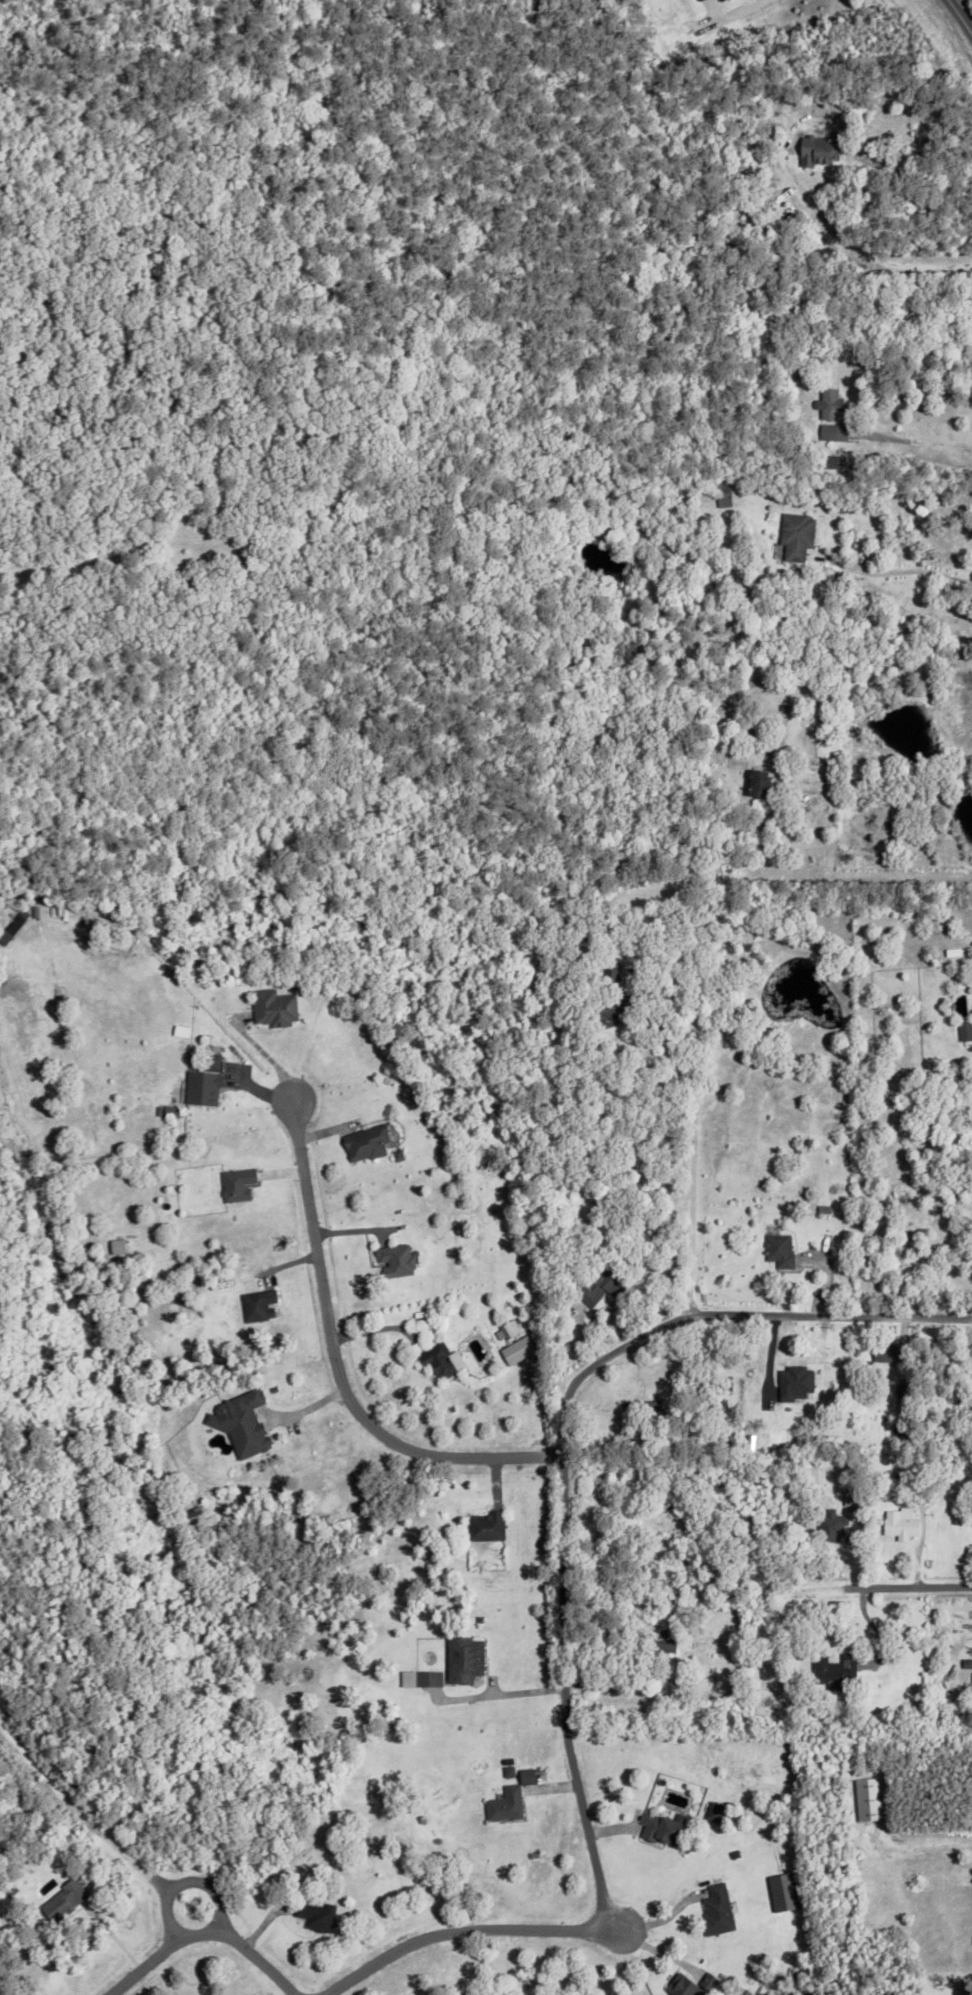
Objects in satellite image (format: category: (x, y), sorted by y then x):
building: (703, 0)
building: (725, 0)
road: (955, 3)
road: (753, 5)
road: (960, 16)
building: (880, 108)
building: (773, 139)
building: (895, 141)
building: (817, 149)
road: (865, 262)
building: (829, 416)
building: (882, 444)
road: (938, 450)
building: (722, 492)
building: (793, 536)
road: (55, 565)
road: (897, 570)
building: (706, 684)
building: (744, 745)
road: (866, 779)
building: (757, 786)
building: (888, 860)
road: (863, 876)
building: (16, 928)
building: (609, 939)
building: (610, 968)
building: (272, 1003)
building: (607, 1005)
building: (963, 1026)
building: (201, 1083)
building: (166, 1107)
building: (175, 1111)
building: (371, 1142)
road: (692, 1153)
building: (934, 1165)
building: (236, 1180)
building: (821, 1206)
building: (566, 1236)
building: (120, 1246)
building: (777, 1247)
building: (394, 1256)
building: (941, 1262)
building: (877, 1263)
building: (921, 1274)
building: (599, 1281)
building: (256, 1301)
building: (509, 1331)
building: (886, 1350)
building: (520, 1351)
building: (436, 1356)
road: (333, 1370)
building: (792, 1371)
building: (721, 1380)
building: (900, 1388)
building: (905, 1391)
building: (638, 1401)
building: (903, 1410)
building: (246, 1423)
building: (788, 1432)
building: (724, 1439)
road: (565, 1452)
building: (916, 1473)
building: (690, 1486)
building: (719, 1494)
building: (851, 1495)
building: (662, 1501)
building: (830, 1518)
building: (898, 1520)
building: (485, 1523)
road: (897, 1589)
building: (764, 1605)
building: (662, 1638)
building: (537, 1648)
building: (772, 1653)
building: (462, 1656)
building: (968, 1663)
building: (832, 1667)
building: (427, 1676)
building: (971, 1682)
road: (503, 1693)
building: (834, 1700)
building: (675, 1759)
building: (535, 1778)
building: (872, 1799)
building: (503, 1802)
building: (716, 1812)
building: (659, 1825)
road: (927, 1847)
building: (9, 1887)
building: (63, 1898)
building: (721, 1910)
building: (320, 1917)
road: (457, 1929)
road: (158, 1952)
road: (258, 1957)
building: (970, 1972)
building: (693, 1985)
building: (958, 1986)

